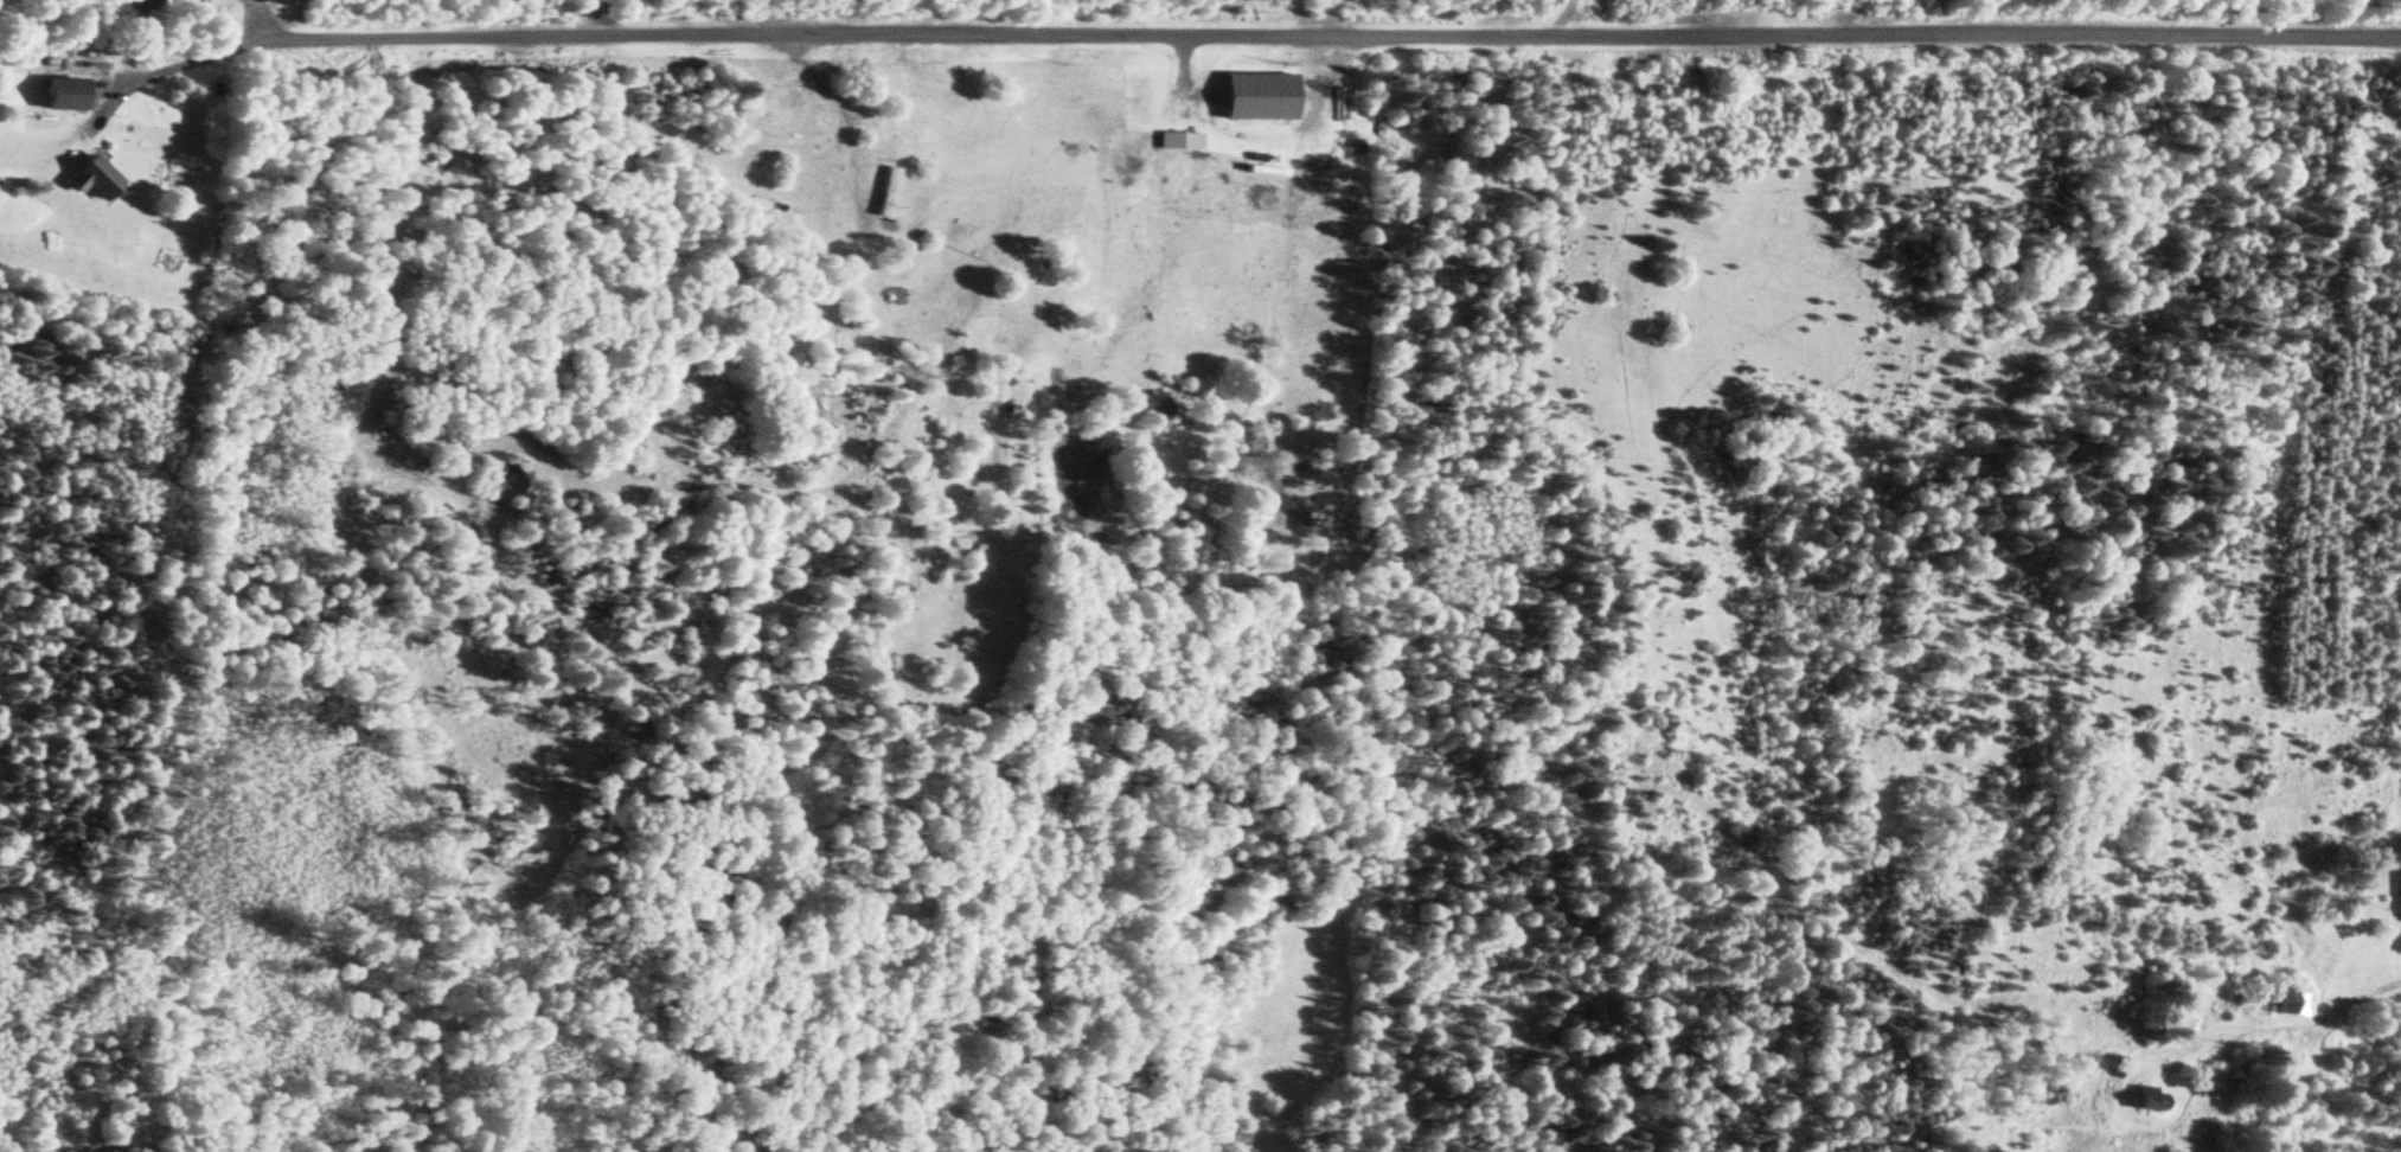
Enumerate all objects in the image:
building: (1267, 0)
road: (1250, 39)
building: (66, 95)
building: (1266, 95)
building: (96, 177)
building: (885, 191)
building: (2400, 914)

